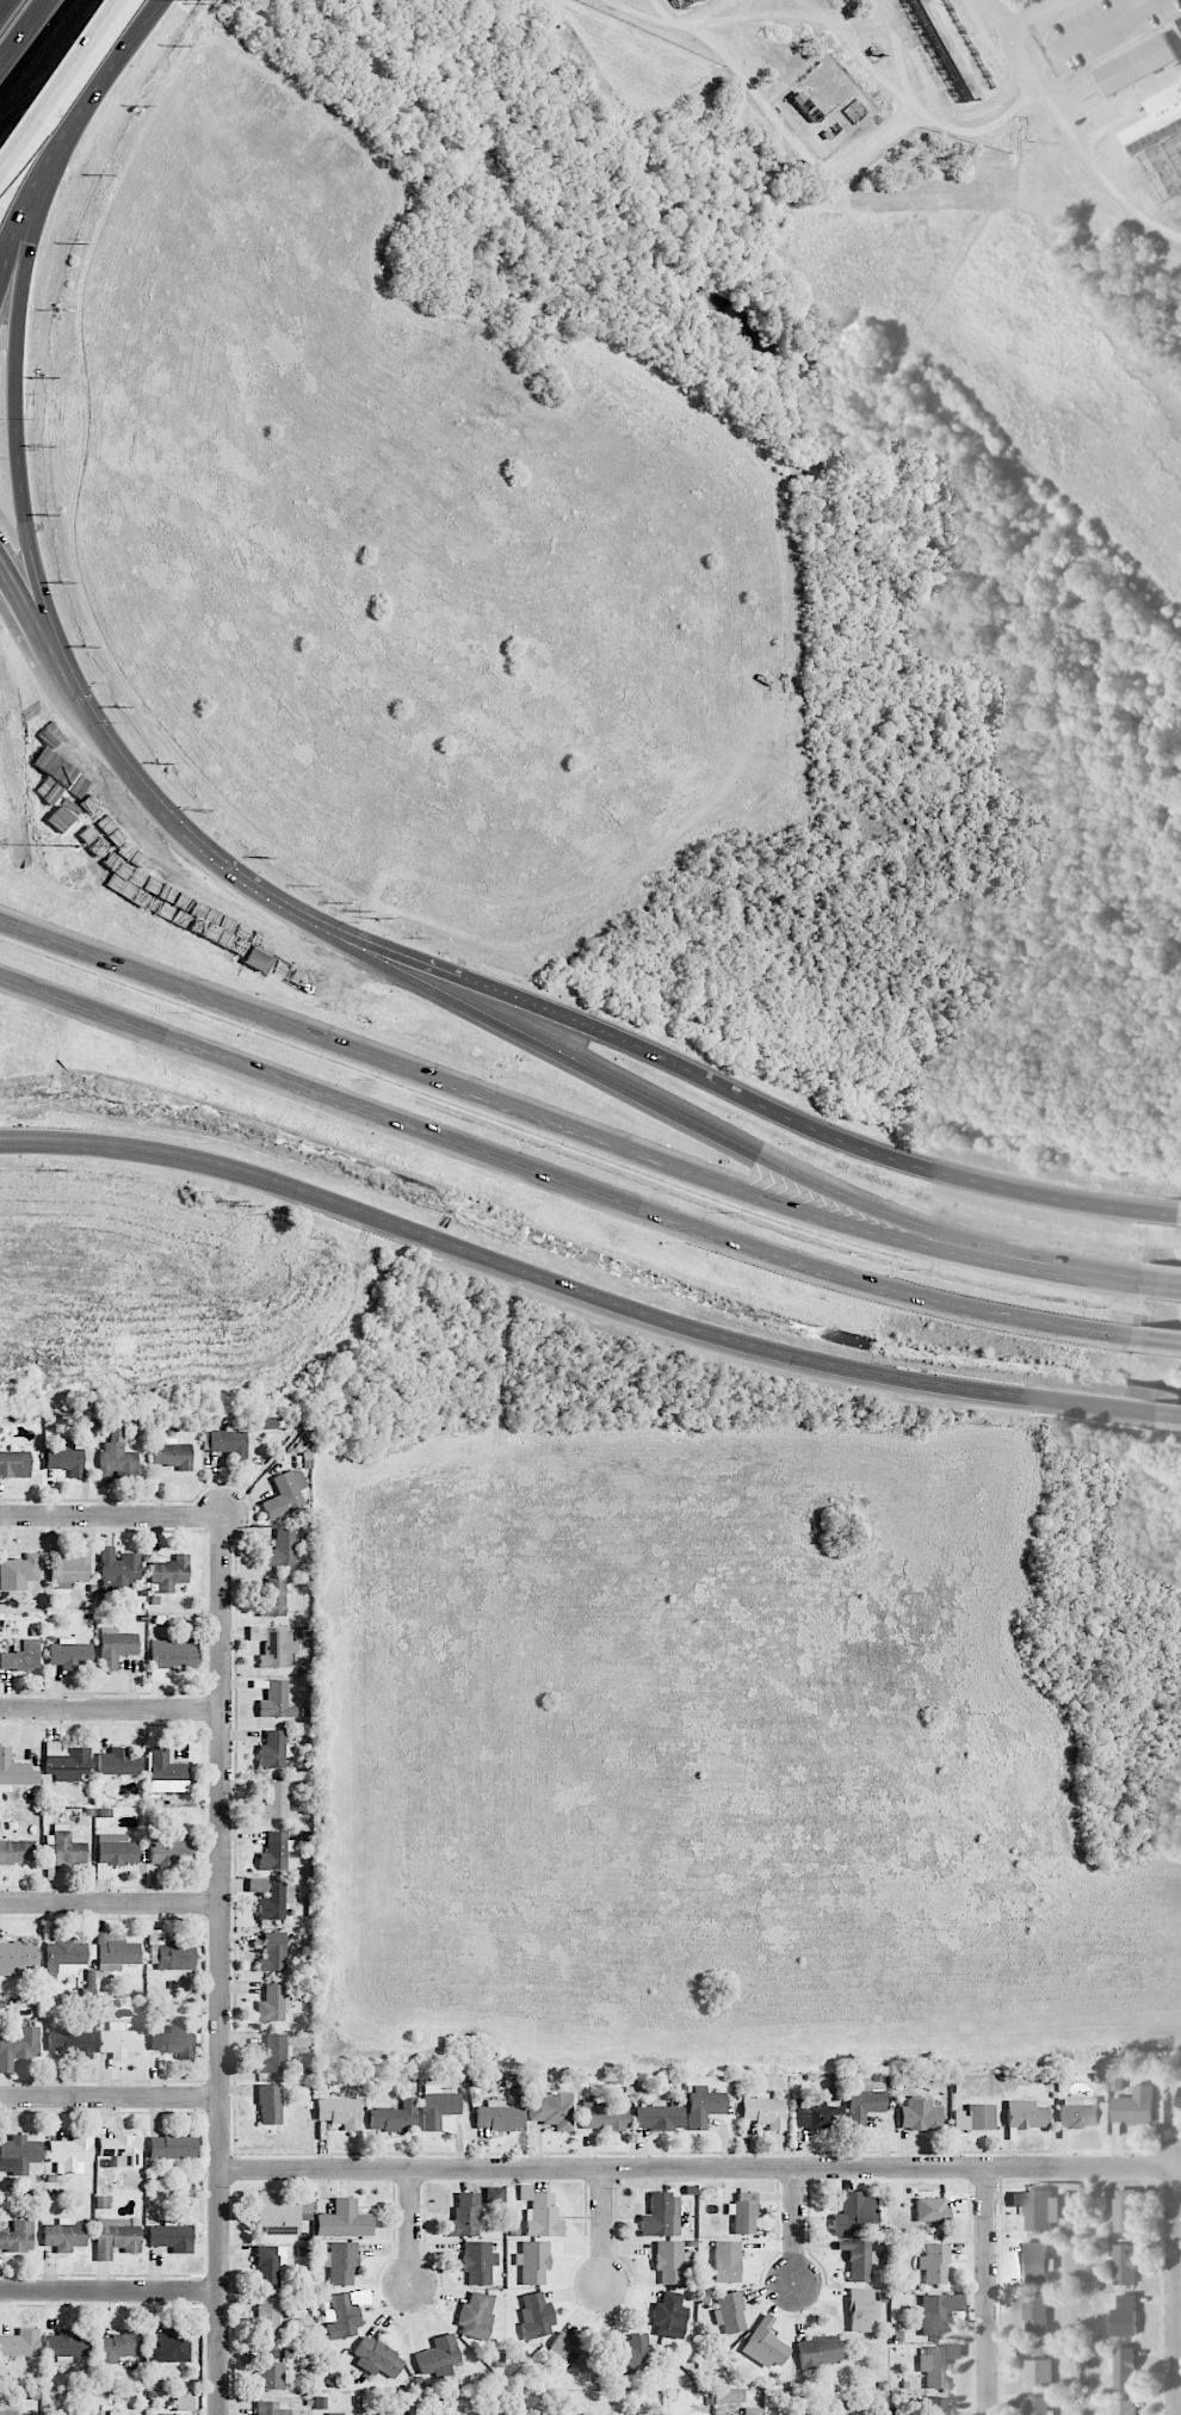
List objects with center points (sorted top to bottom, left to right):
road: (1, 1)
building: (682, 2)
street lamp: (185, 5)
road: (712, 12)
road: (820, 13)
road: (1034, 13)
road: (666, 14)
road: (872, 18)
building: (1180, 20)
road: (828, 23)
parking lot: (1100, 30)
road: (1083, 33)
road: (25, 35)
building: (950, 48)
road: (929, 64)
building: (1137, 64)
road: (51, 70)
building: (1156, 117)
road: (64, 131)
road: (1071, 135)
road: (810, 159)
building: (1162, 160)
road: (20, 290)
road: (33, 564)
road: (14, 599)
road: (130, 772)
road: (743, 1100)
road: (534, 1117)
road: (693, 1123)
road: (557, 1181)
road: (1180, 1215)
road: (1107, 1278)
road: (1157, 1281)
road: (571, 1292)
road: (1155, 1341)
road: (1167, 1419)
building: (267, 1423)
building: (88, 1433)
building: (228, 1443)
building: (172, 1454)
building: (116, 1457)
building: (64, 1458)
building: (14, 1465)
building: (285, 1494)
road: (111, 1514)
building: (282, 1549)
building: (118, 1568)
building: (68, 1569)
building: (18, 1571)
building: (169, 1573)
building: (273, 1599)
building: (272, 1645)
building: (115, 1647)
building: (69, 1654)
building: (20, 1655)
building: (171, 1657)
building: (276, 1700)
road: (111, 1709)
building: (274, 1750)
building: (67, 1762)
building: (118, 1762)
building: (14, 1771)
building: (166, 1772)
building: (274, 1801)
building: (63, 1848)
building: (169, 1849)
building: (16, 1852)
building: (274, 1852)
building: (271, 1897)
road: (111, 1902)
building: (168, 1951)
building: (115, 1952)
building: (273, 1952)
building: (17, 1957)
building: (64, 1958)
road: (221, 1964)
building: (272, 2003)
building: (118, 2040)
building: (172, 2042)
building: (70, 2043)
building: (18, 2046)
building: (274, 2053)
road: (110, 2095)
building: (864, 2096)
building: (1179, 2100)
building: (270, 2104)
building: (703, 2106)
building: (1138, 2106)
building: (439, 2108)
building: (551, 2110)
building: (762, 2111)
building: (339, 2112)
building: (604, 2113)
building: (1078, 2113)
building: (816, 2114)
building: (920, 2114)
building: (1025, 2114)
building: (391, 2116)
building: (499, 2117)
building: (657, 2117)
building: (973, 2117)
building: (172, 2147)
building: (120, 2150)
building: (70, 2152)
building: (18, 2154)
road: (700, 2168)
building: (495, 2195)
building: (930, 2209)
building: (1038, 2209)
building: (1124, 2211)
building: (540, 2212)
building: (742, 2213)
building: (278, 2215)
building: (855, 2215)
building: (464, 2216)
building: (661, 2216)
building: (344, 2221)
road: (796, 2225)
road: (604, 2228)
road: (410, 2229)
building: (63, 2235)
building: (17, 2236)
building: (171, 2236)
building: (115, 2237)
building: (857, 2259)
building: (536, 2260)
building: (478, 2261)
building: (669, 2261)
building: (725, 2261)
building: (340, 2262)
building: (1035, 2262)
building: (934, 2263)
building: (270, 2265)
building: (1124, 2265)
road: (110, 2290)
road: (1179, 2290)
road: (989, 2291)
building: (861, 2310)
building: (729, 2312)
building: (938, 2312)
building: (1034, 2314)
building: (475, 2315)
building: (534, 2315)
building: (270, 2316)
building: (669, 2316)
building: (342, 2317)
building: (1124, 2317)
building: (20, 2343)
building: (67, 2345)
building: (765, 2345)
building: (119, 2346)
building: (167, 2346)
building: (1035, 2349)
building: (818, 2351)
building: (571, 2352)
building: (629, 2354)
building: (438, 2357)
building: (376, 2359)
building: (938, 2364)
building: (1123, 2368)
building: (270, 2370)
building: (1038, 2373)
road: (1180, 2401)
building: (935, 2405)
building: (1037, 2405)
building: (1121, 2407)
building: (270, 2408)
building: (752, 2411)
building: (8, 2413)
building: (115, 2413)
building: (391, 2413)
building: (487, 2413)
building: (74, 2414)
building: (169, 2414)
building: (334, 2414)
building: (587, 2414)

